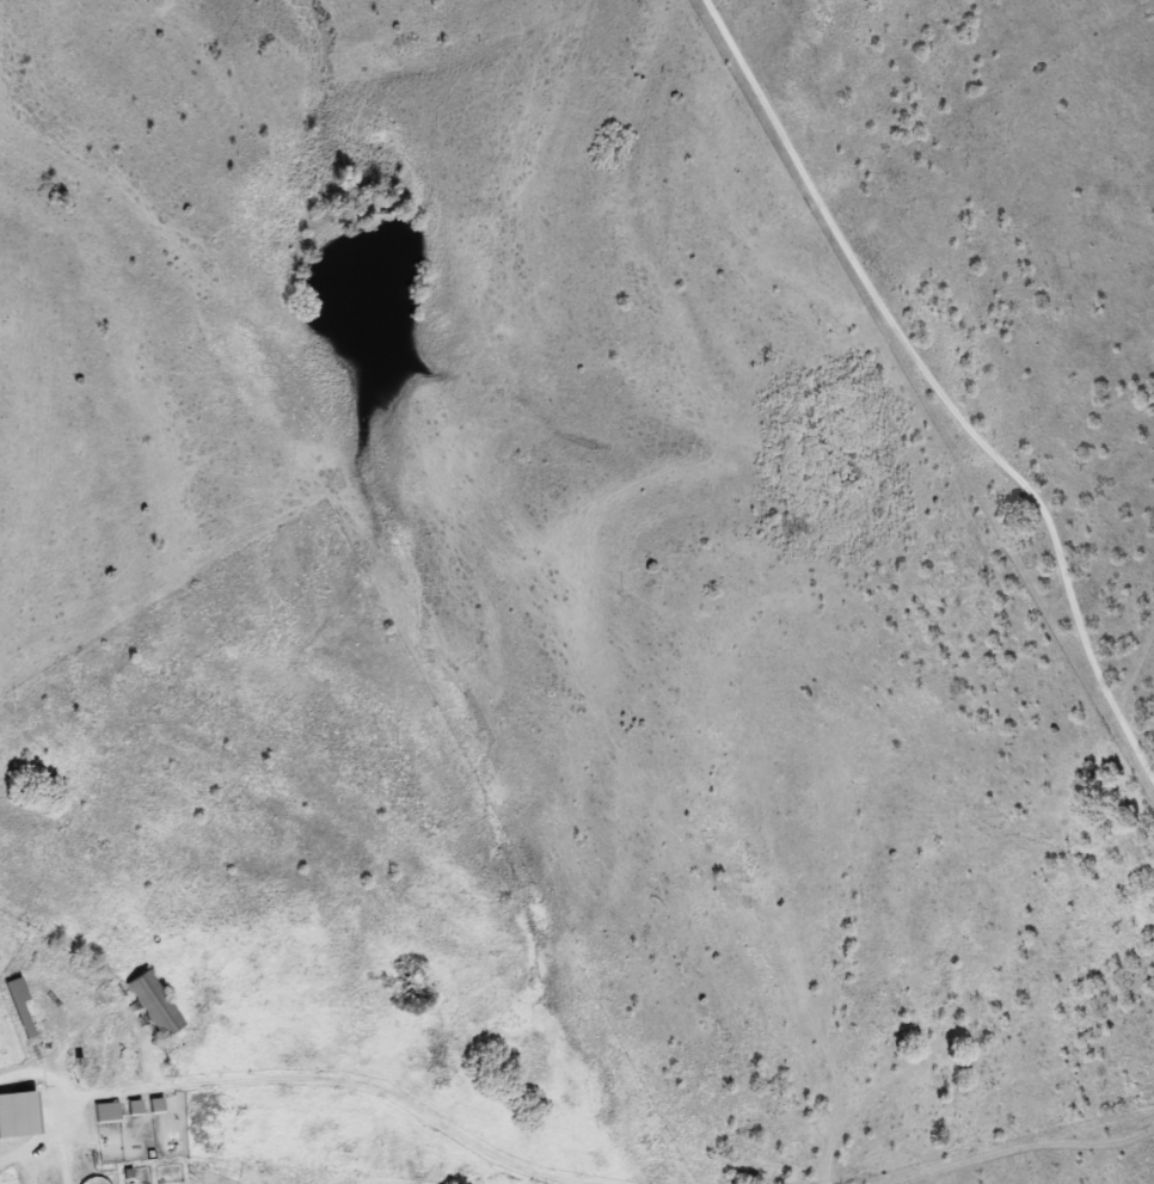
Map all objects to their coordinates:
road: (1006, 924)
building: (20, 1005)
building: (155, 1006)
road: (351, 1090)
building: (135, 1110)
building: (106, 1114)
road: (73, 1129)
road: (36, 1136)
road: (1018, 1147)
road: (790, 1152)

